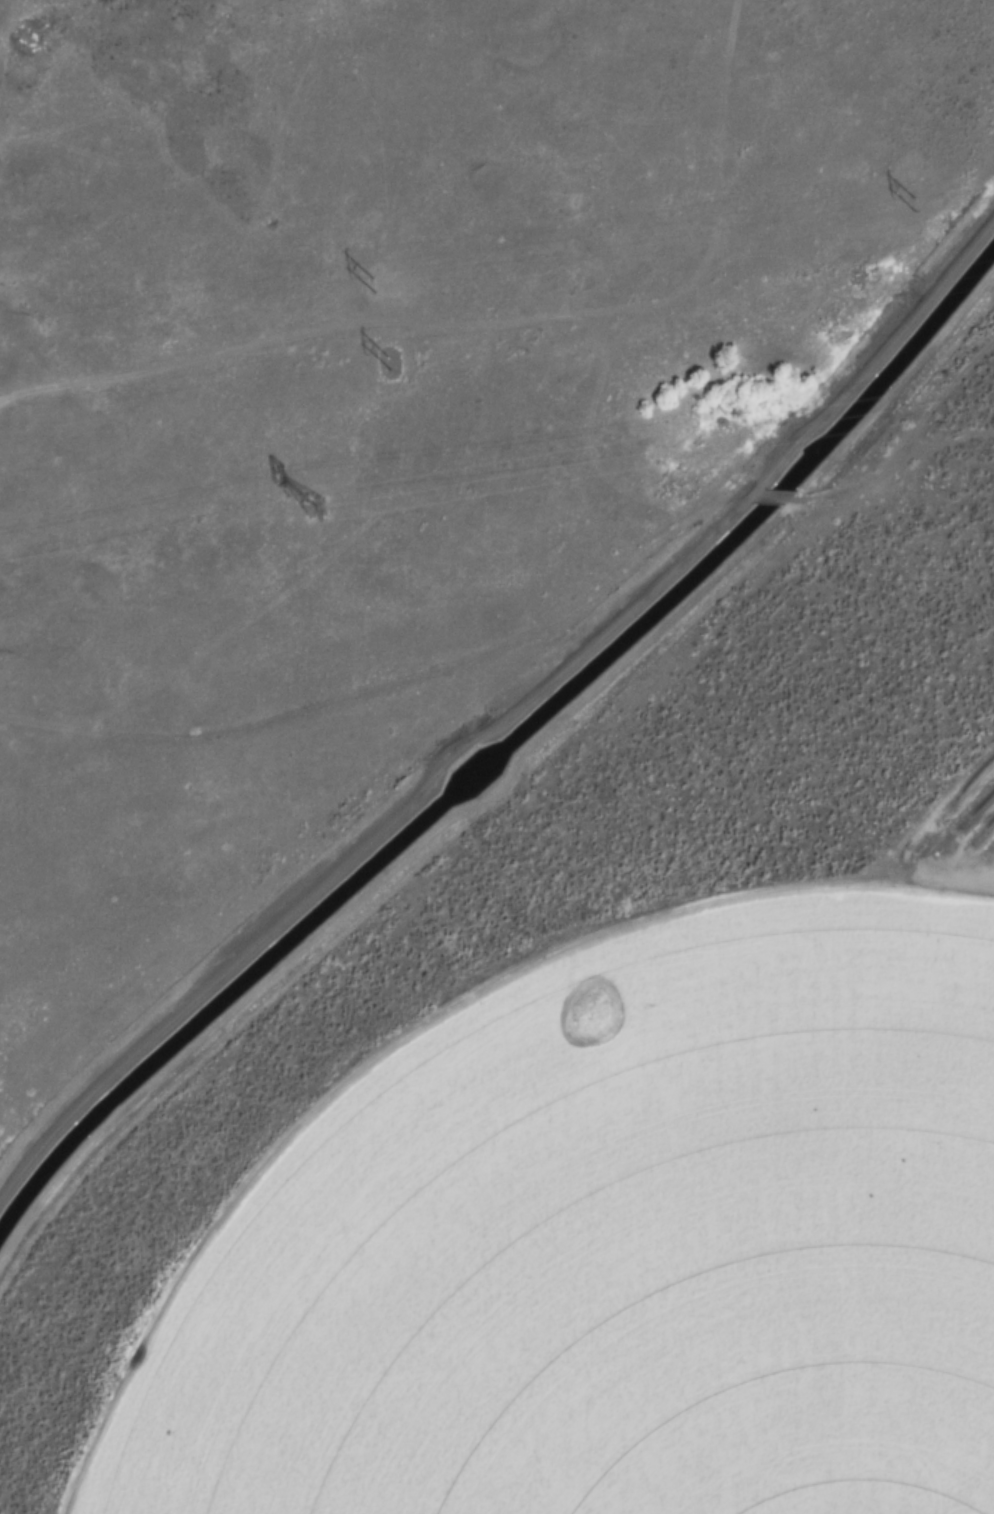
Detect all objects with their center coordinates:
power tower: (387, 363)
power tower: (325, 508)

